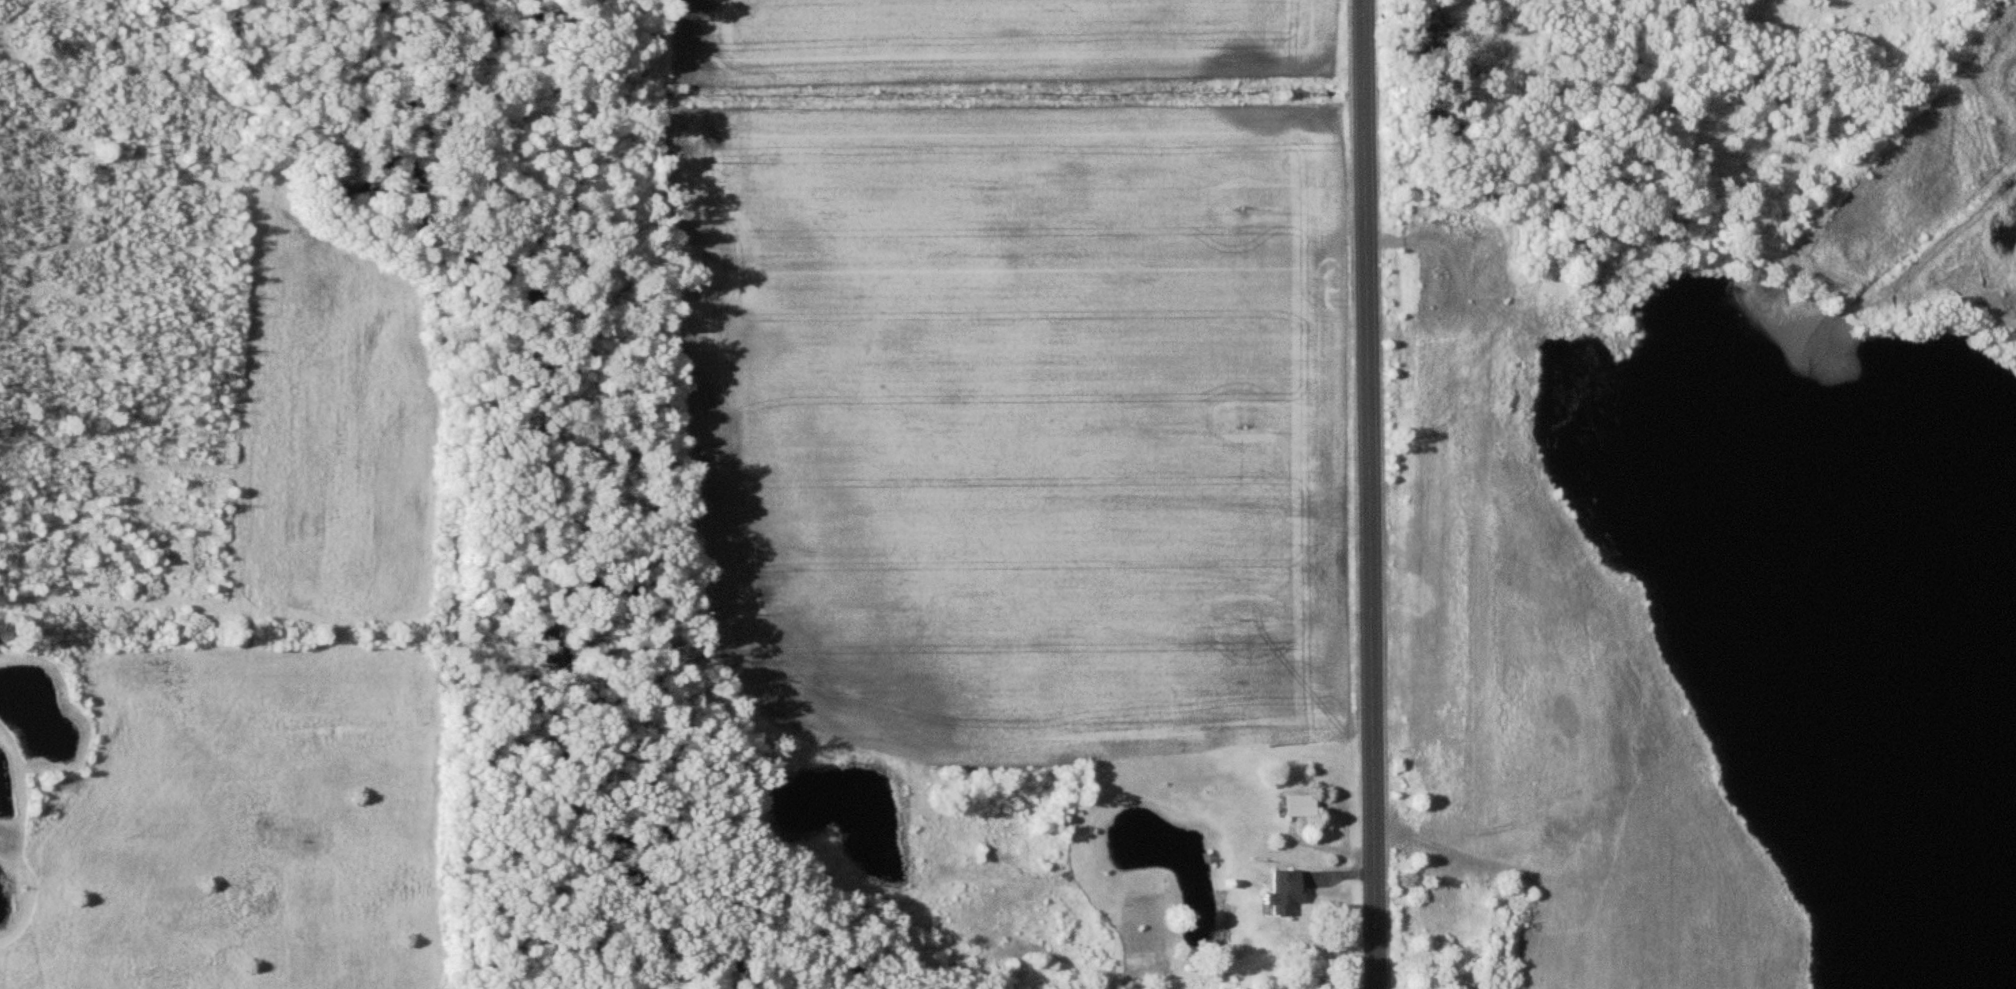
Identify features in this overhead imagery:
road: (1370, 494)
building: (1299, 805)
building: (1283, 891)

